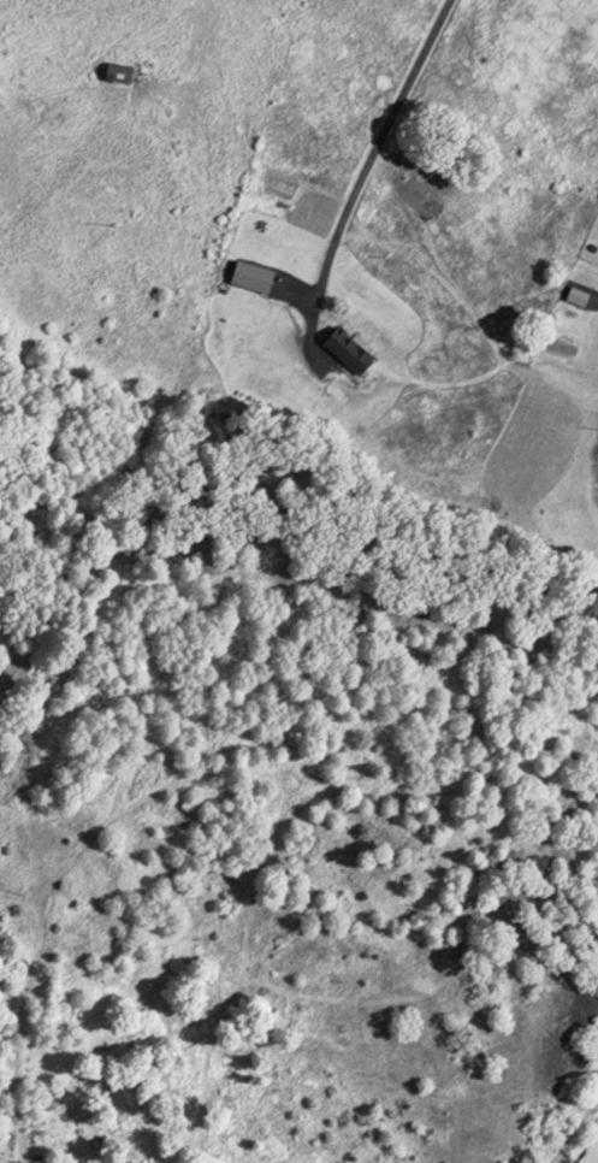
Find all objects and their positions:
building: (113, 72)
road: (372, 155)
building: (347, 352)

